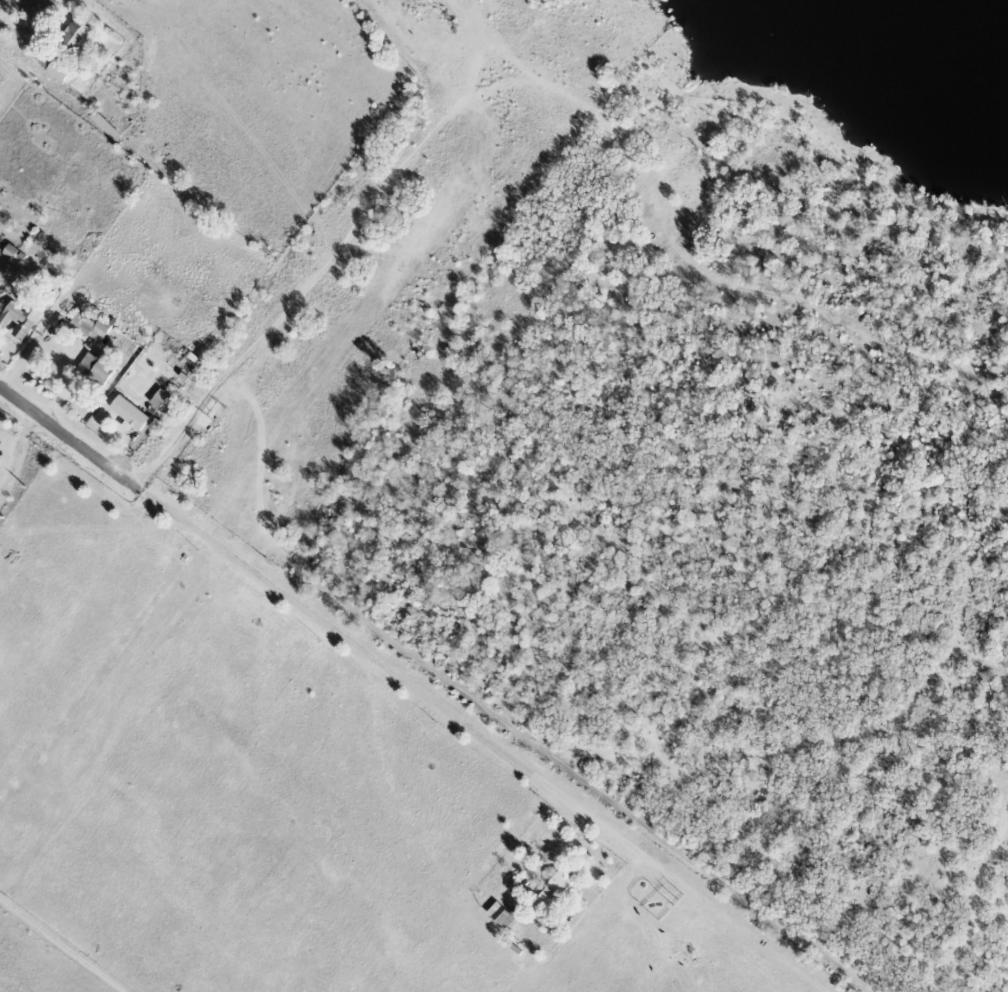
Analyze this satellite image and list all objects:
road: (13, 23)
building: (74, 35)
building: (55, 72)
building: (19, 319)
building: (89, 324)
building: (98, 368)
building: (128, 415)
road: (15, 450)
road: (413, 690)
building: (553, 889)
road: (61, 946)

